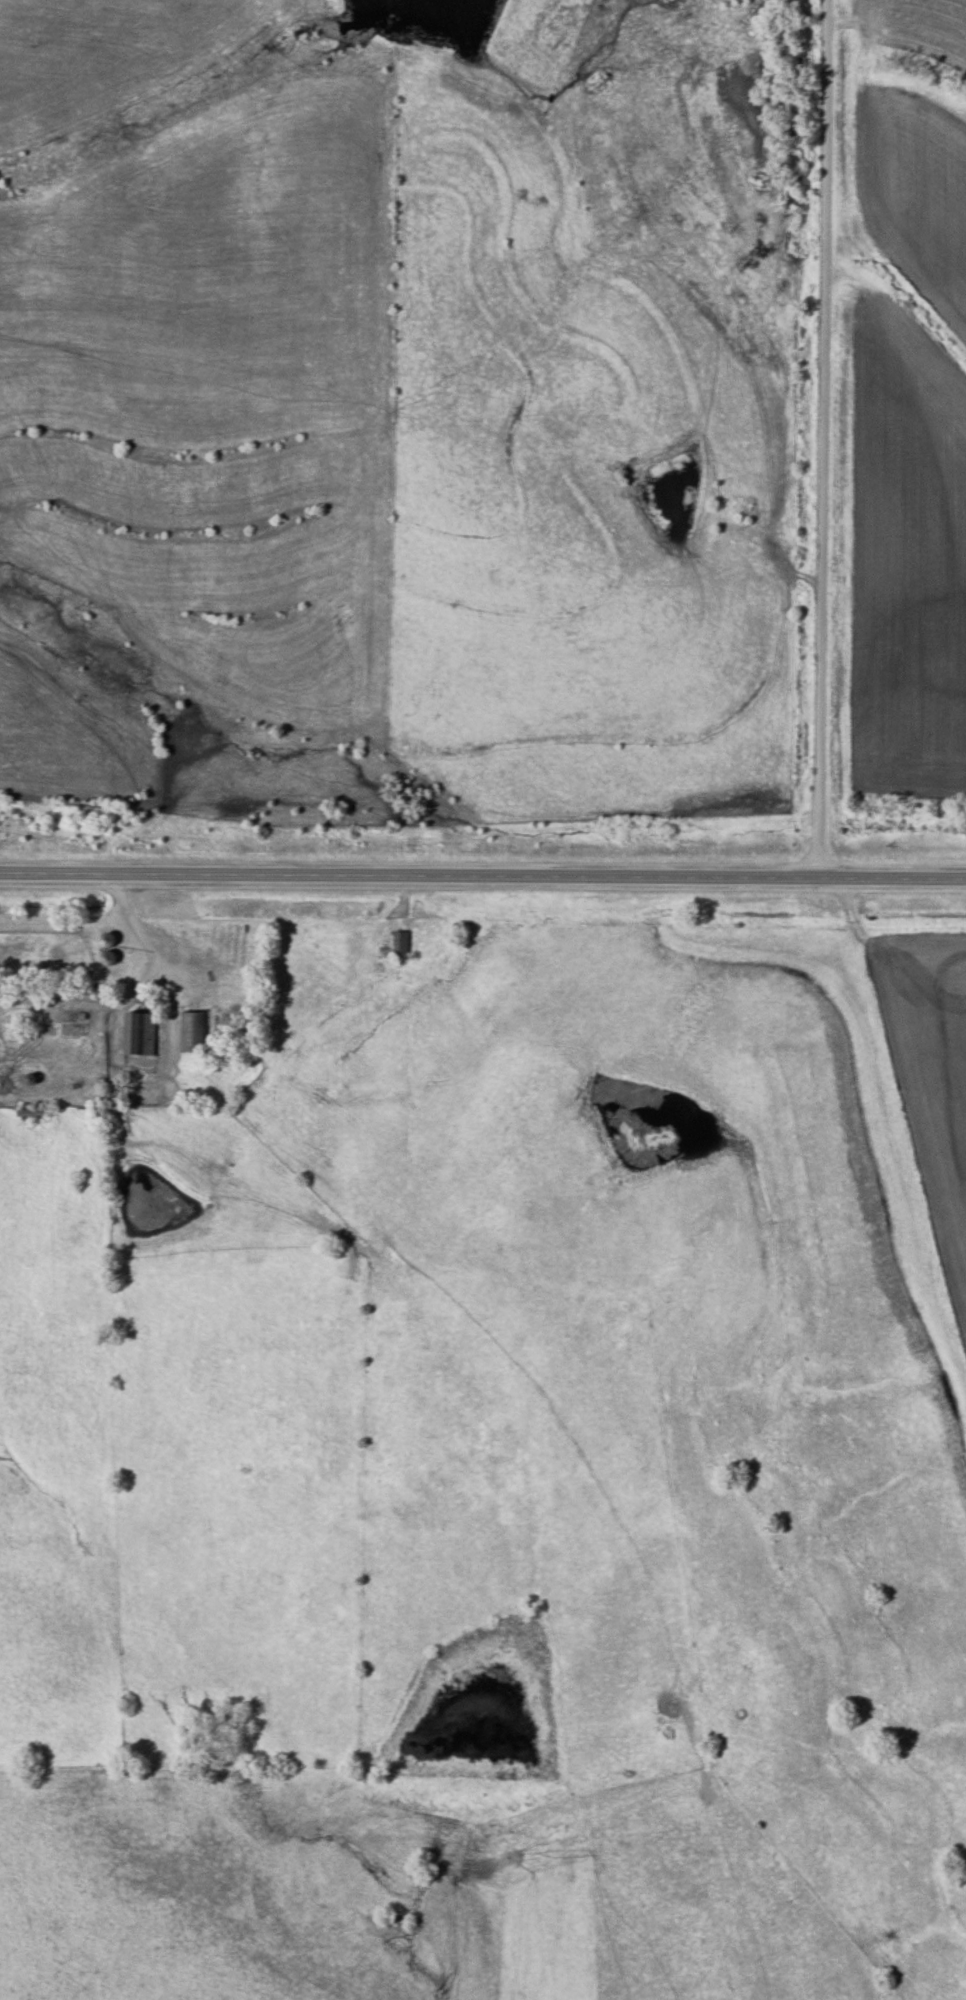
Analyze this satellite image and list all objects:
road: (823, 436)
road: (483, 871)
road: (137, 925)
building: (102, 942)
building: (397, 944)
building: (221, 951)
building: (103, 958)
building: (190, 1033)
building: (136, 1034)

